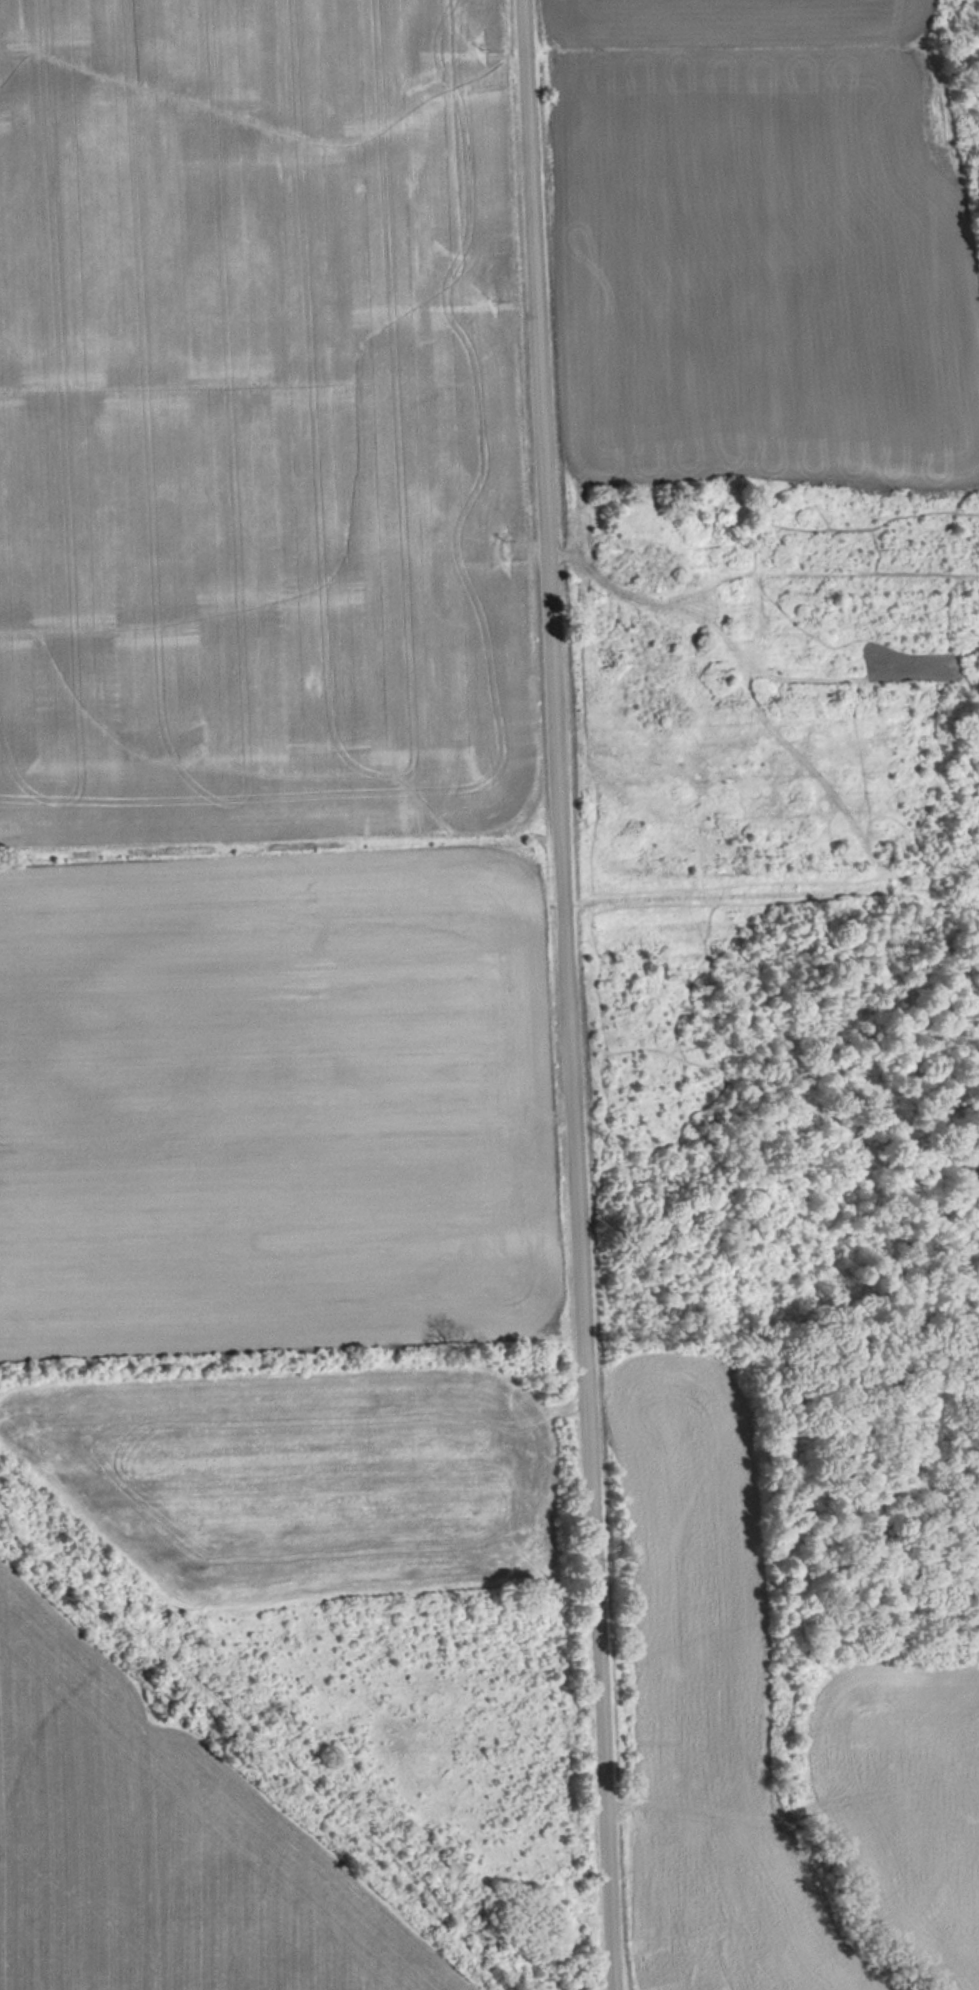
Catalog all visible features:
road: (565, 995)
railway: (265, 1749)

